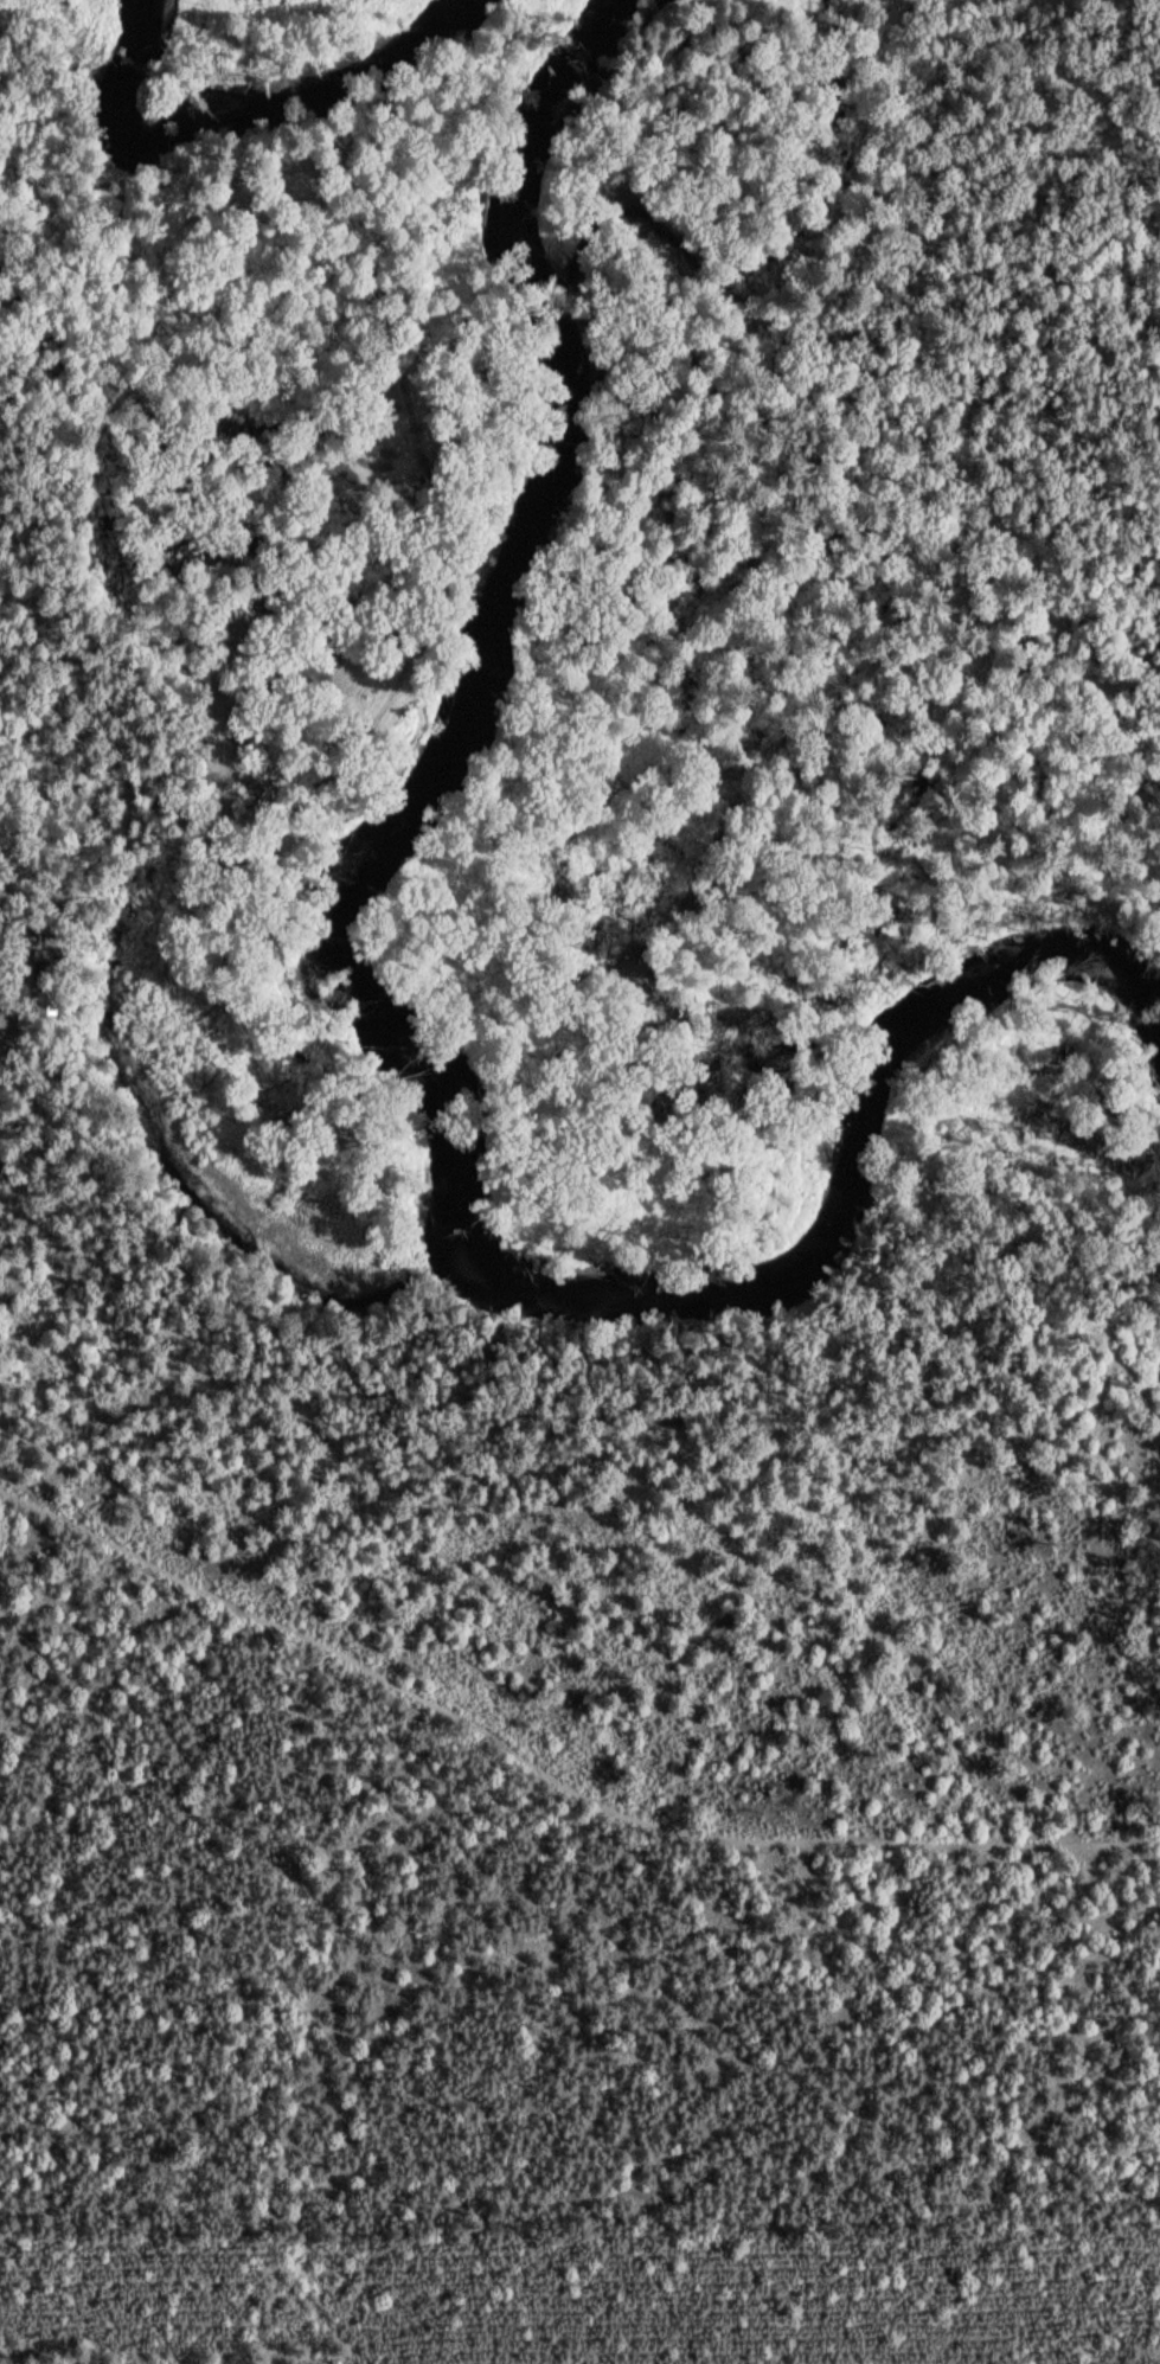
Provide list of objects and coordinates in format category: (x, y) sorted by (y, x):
river: (239, 122)
building: (44, 970)
river: (386, 1036)
road: (549, 1774)

